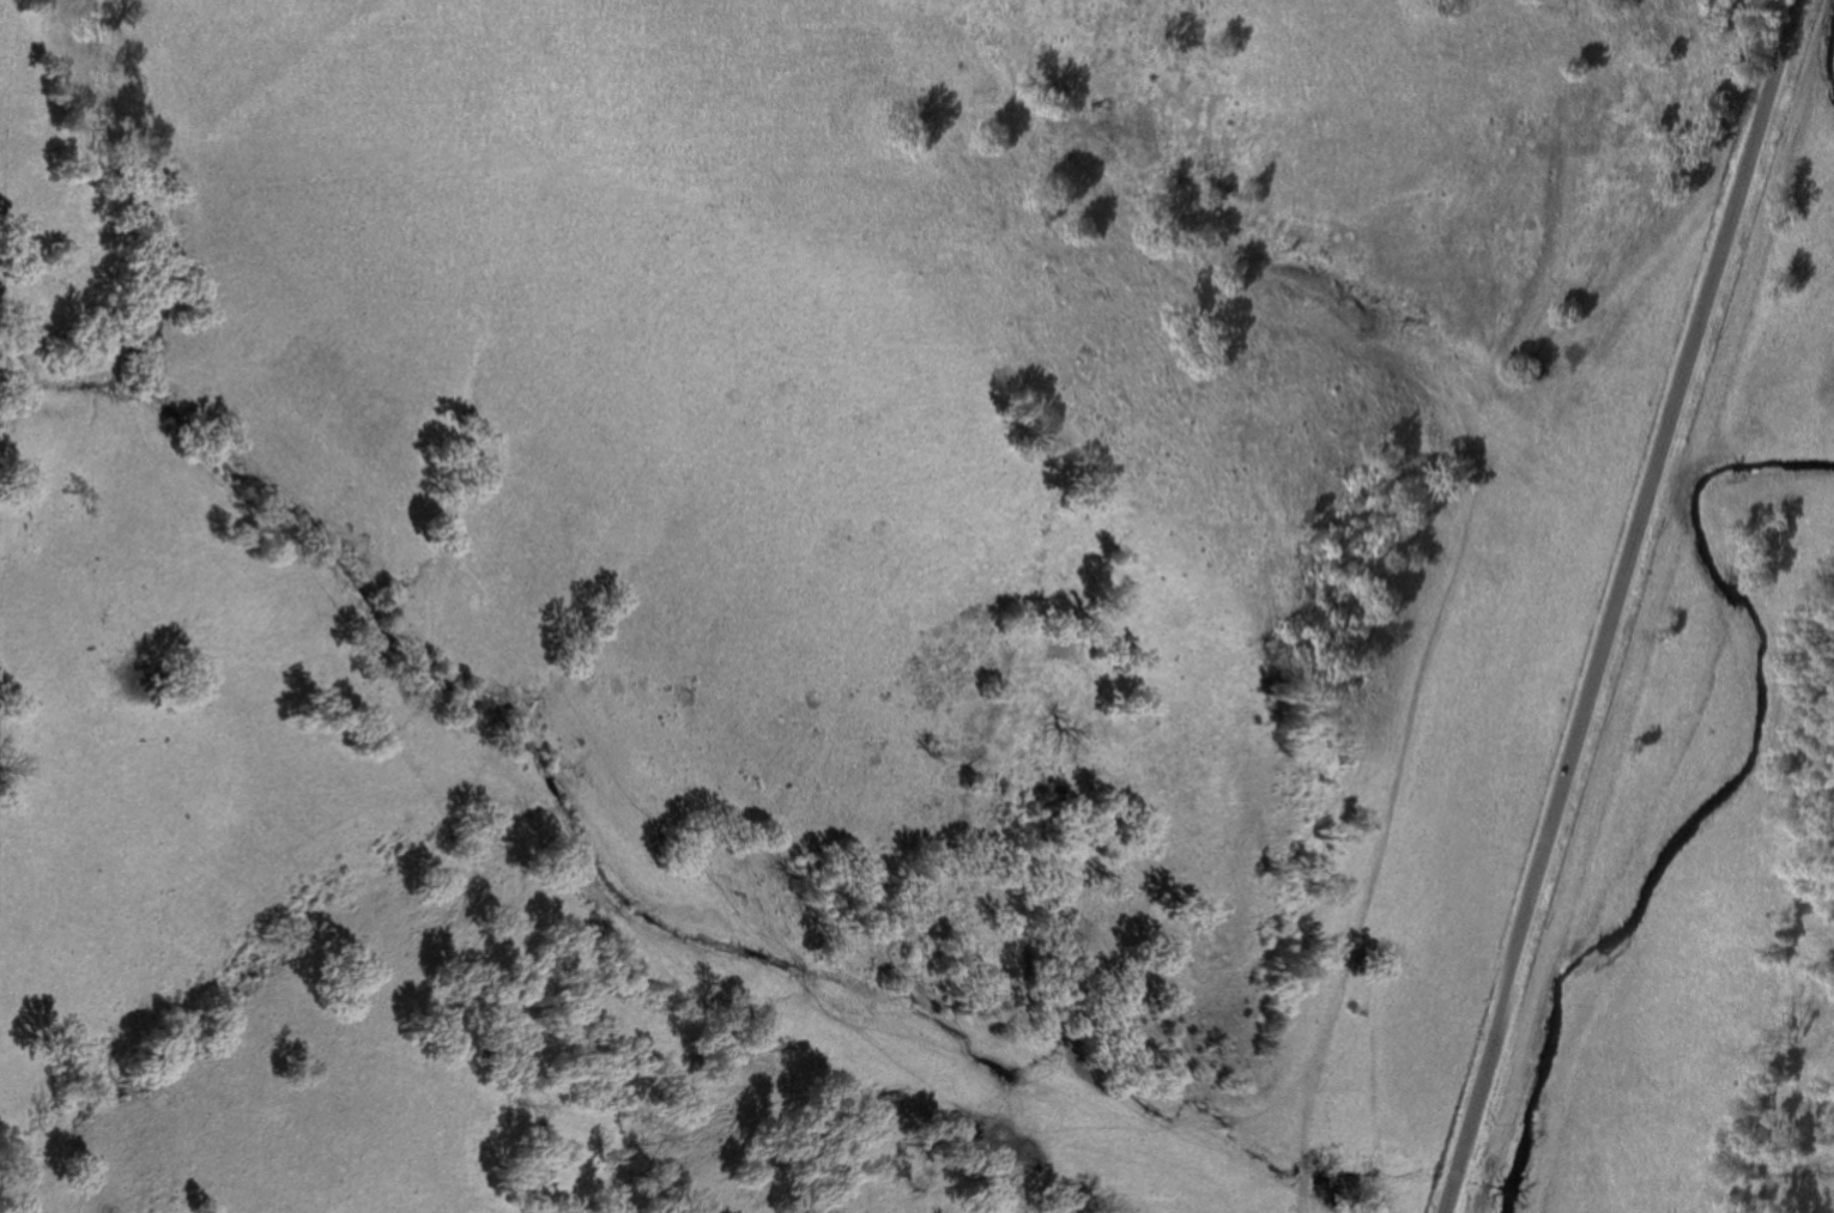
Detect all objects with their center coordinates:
road: (1617, 606)
road: (1295, 1182)
road: (1296, 1209)

